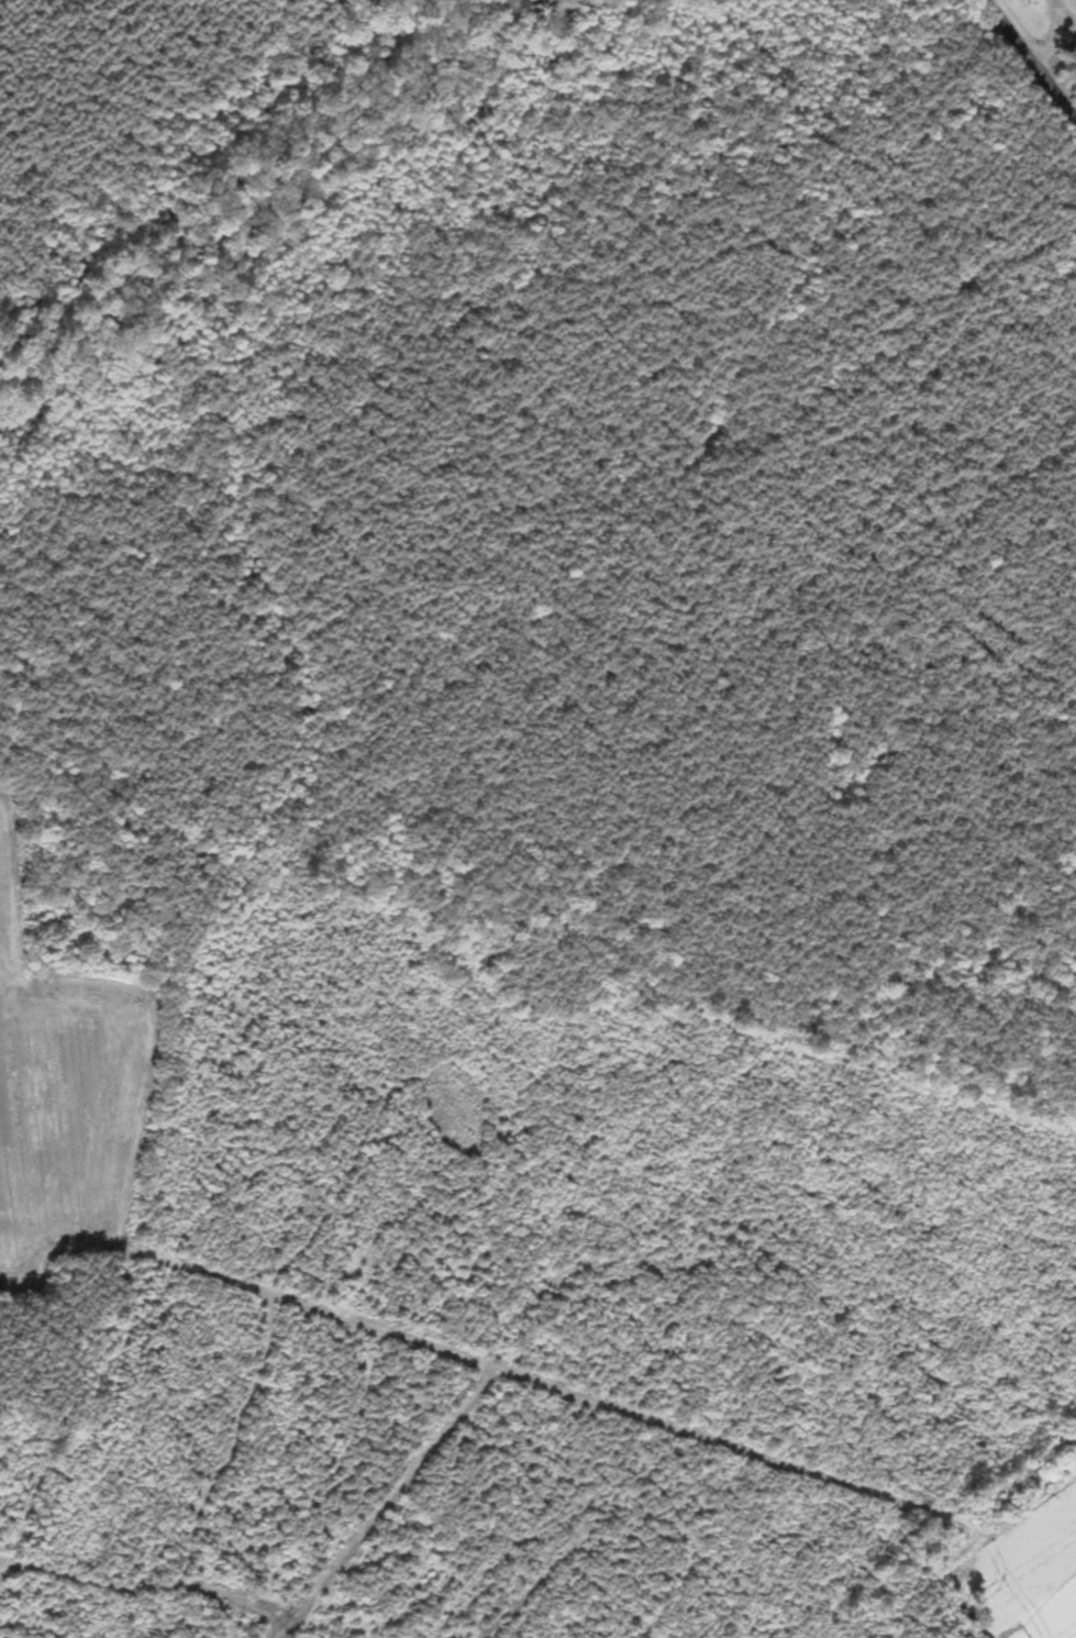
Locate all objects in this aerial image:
building: (1072, 5)
road: (1064, 13)
road: (1052, 41)
road: (1031, 60)

